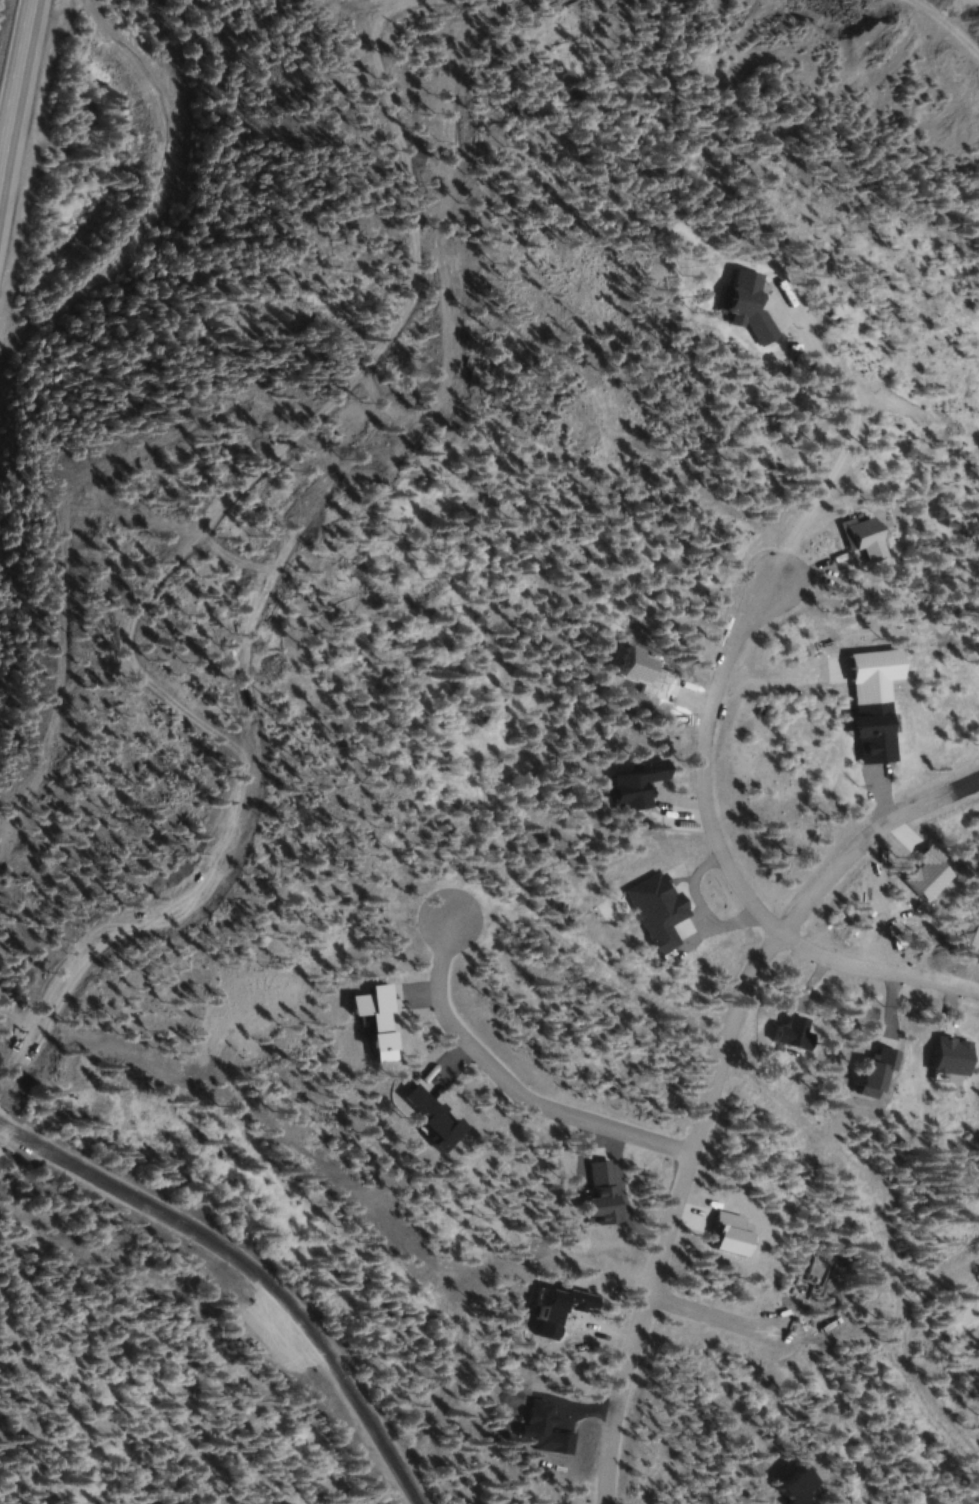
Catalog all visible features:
road: (930, 34)
road: (20, 115)
road: (852, 431)
road: (279, 545)
building: (877, 733)
road: (698, 761)
road: (876, 971)
road: (511, 1082)
road: (709, 1088)
road: (247, 1274)
road: (708, 1315)

